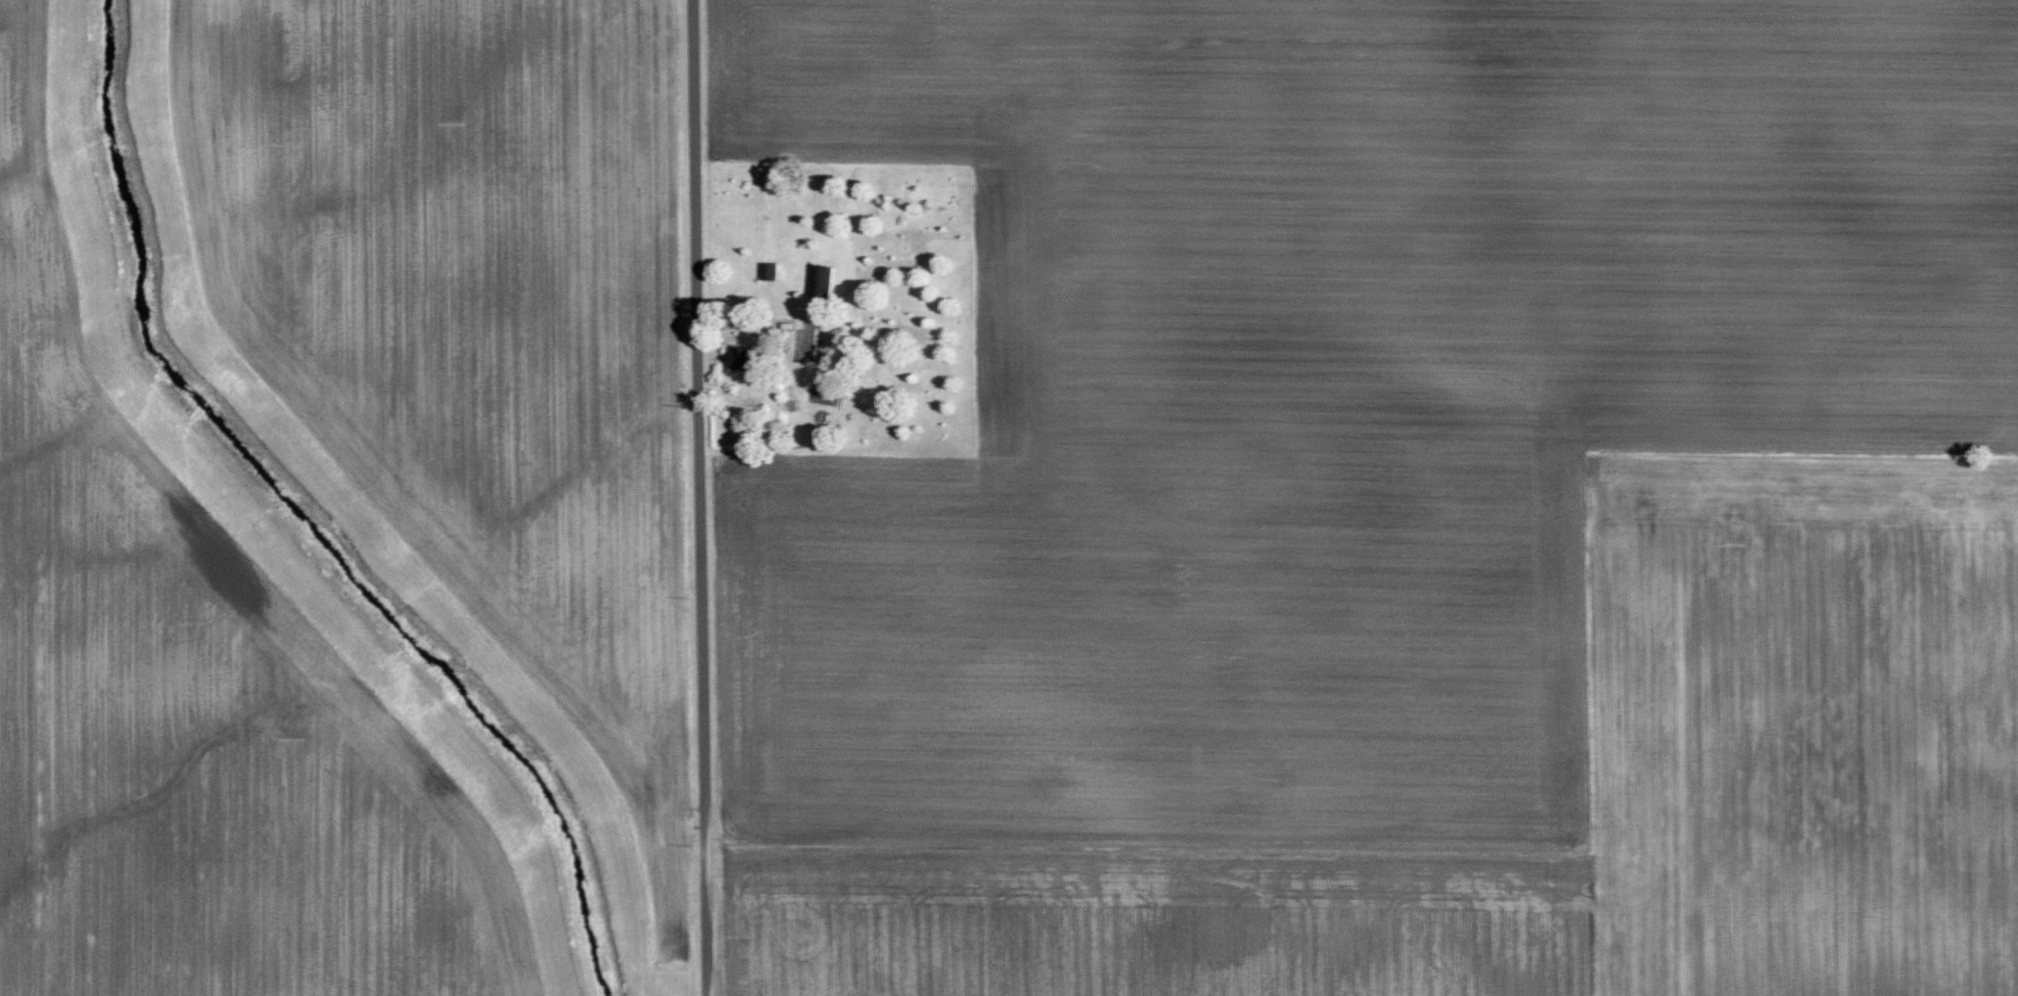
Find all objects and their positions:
road: (703, 498)

